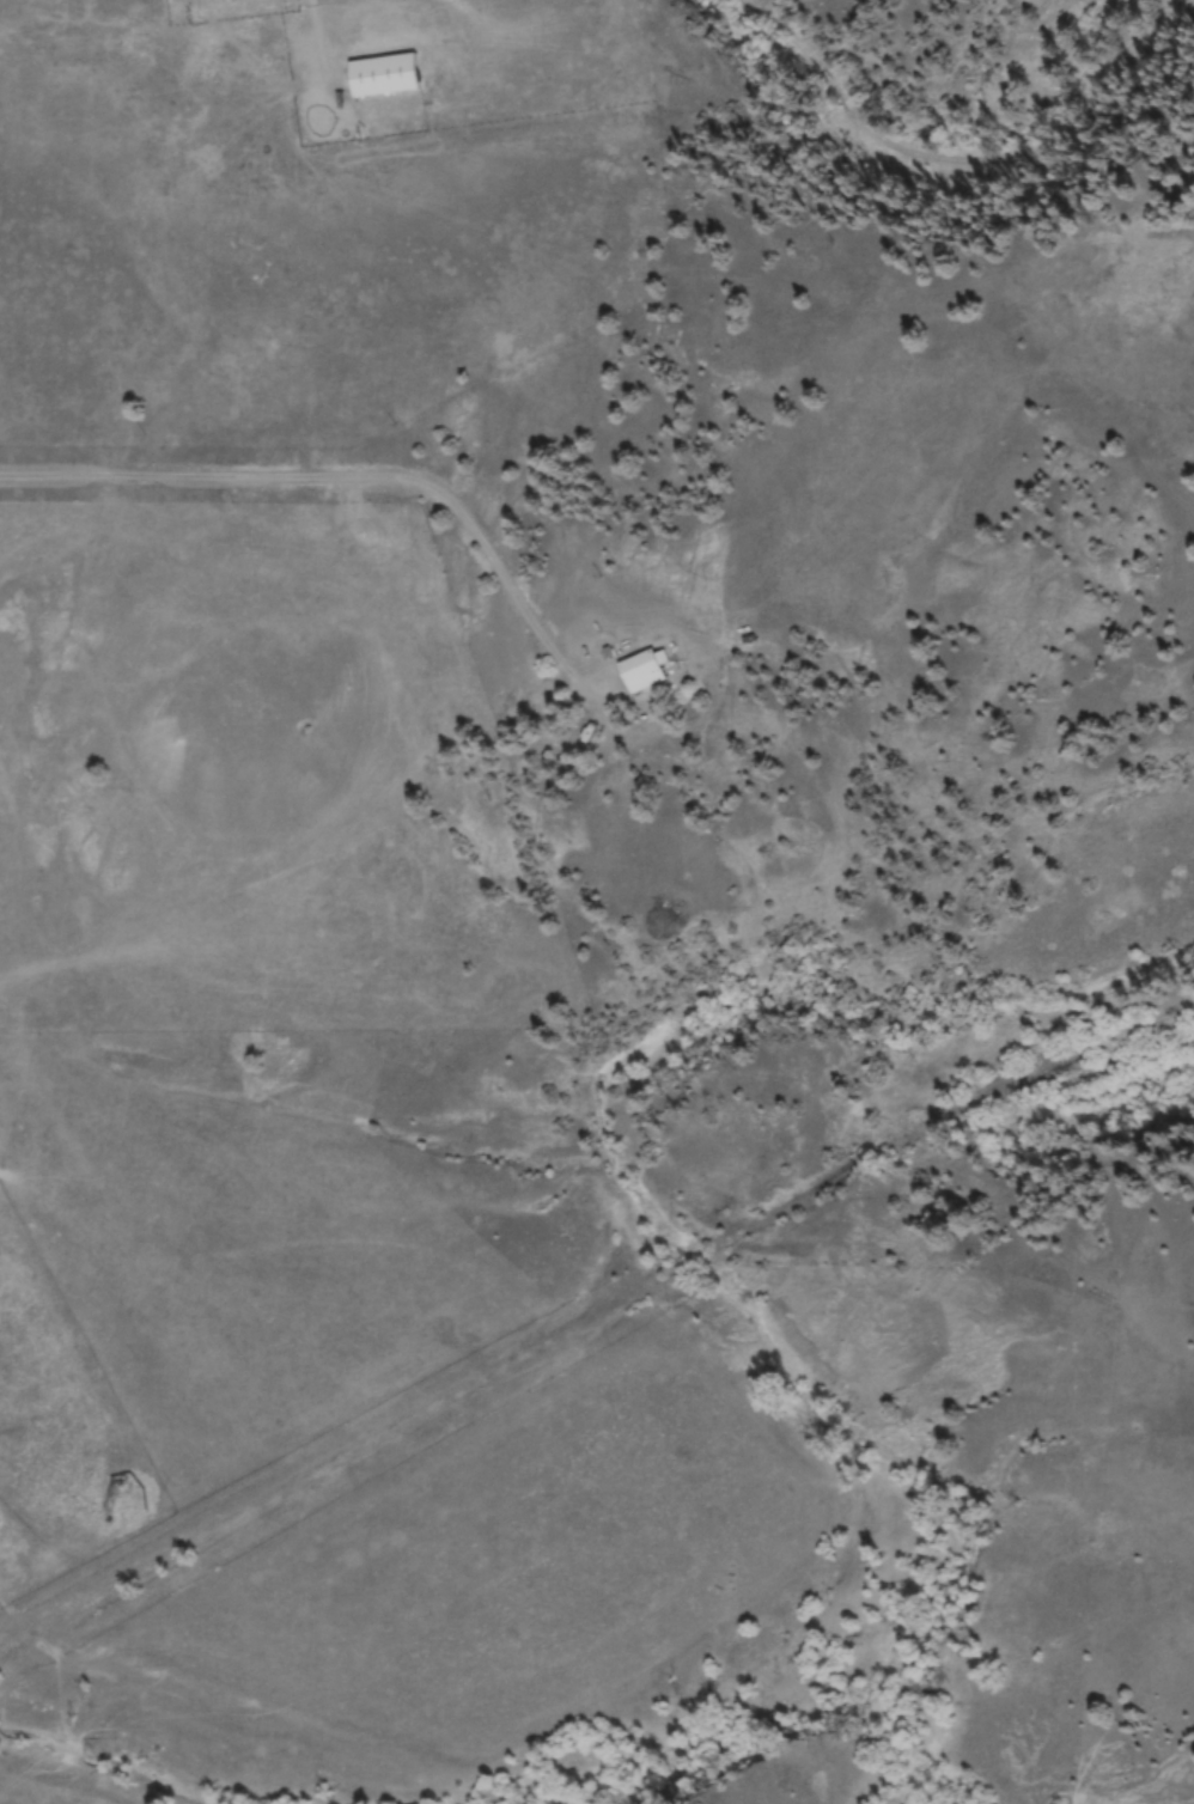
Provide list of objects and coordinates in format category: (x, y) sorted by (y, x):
building: (384, 78)
building: (644, 674)

